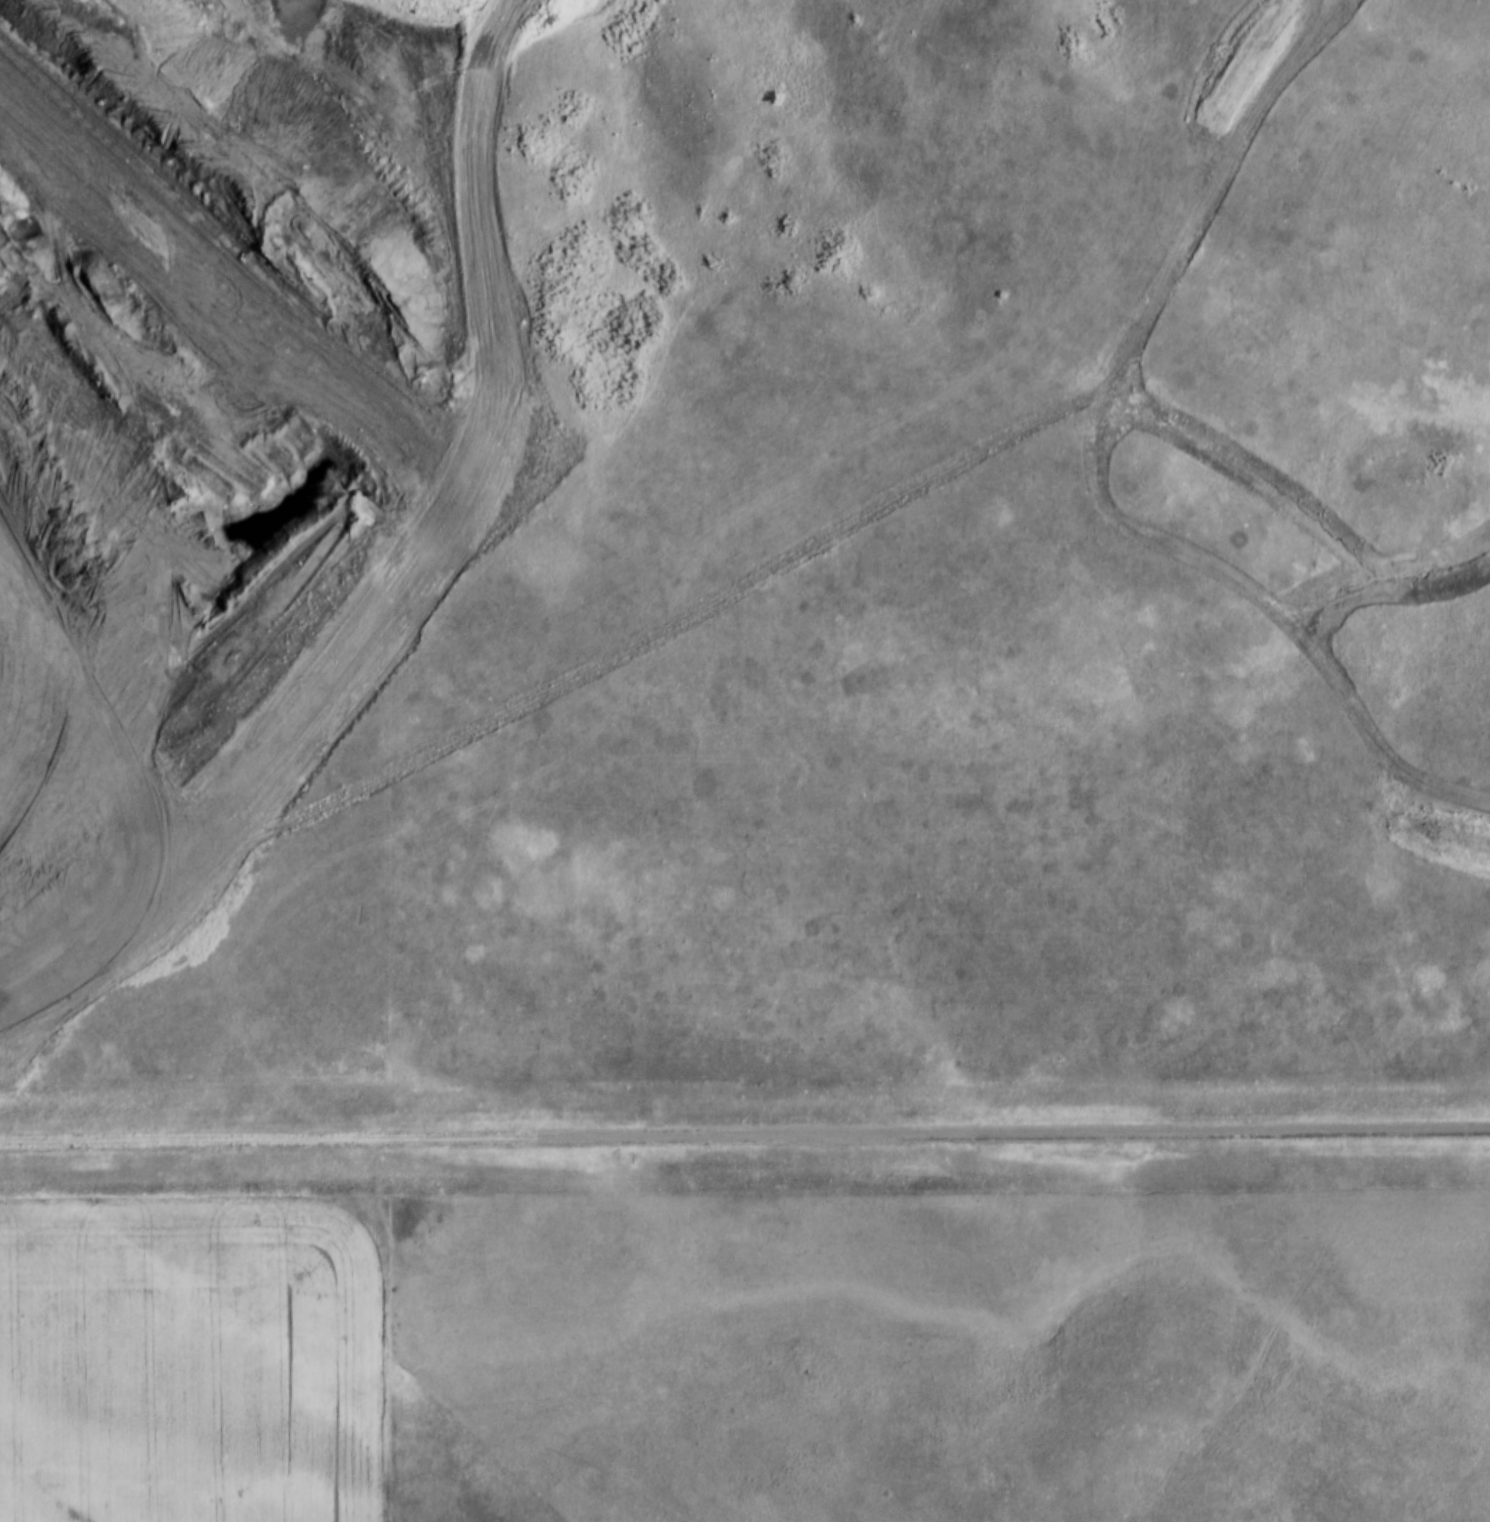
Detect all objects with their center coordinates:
road: (745, 1139)

